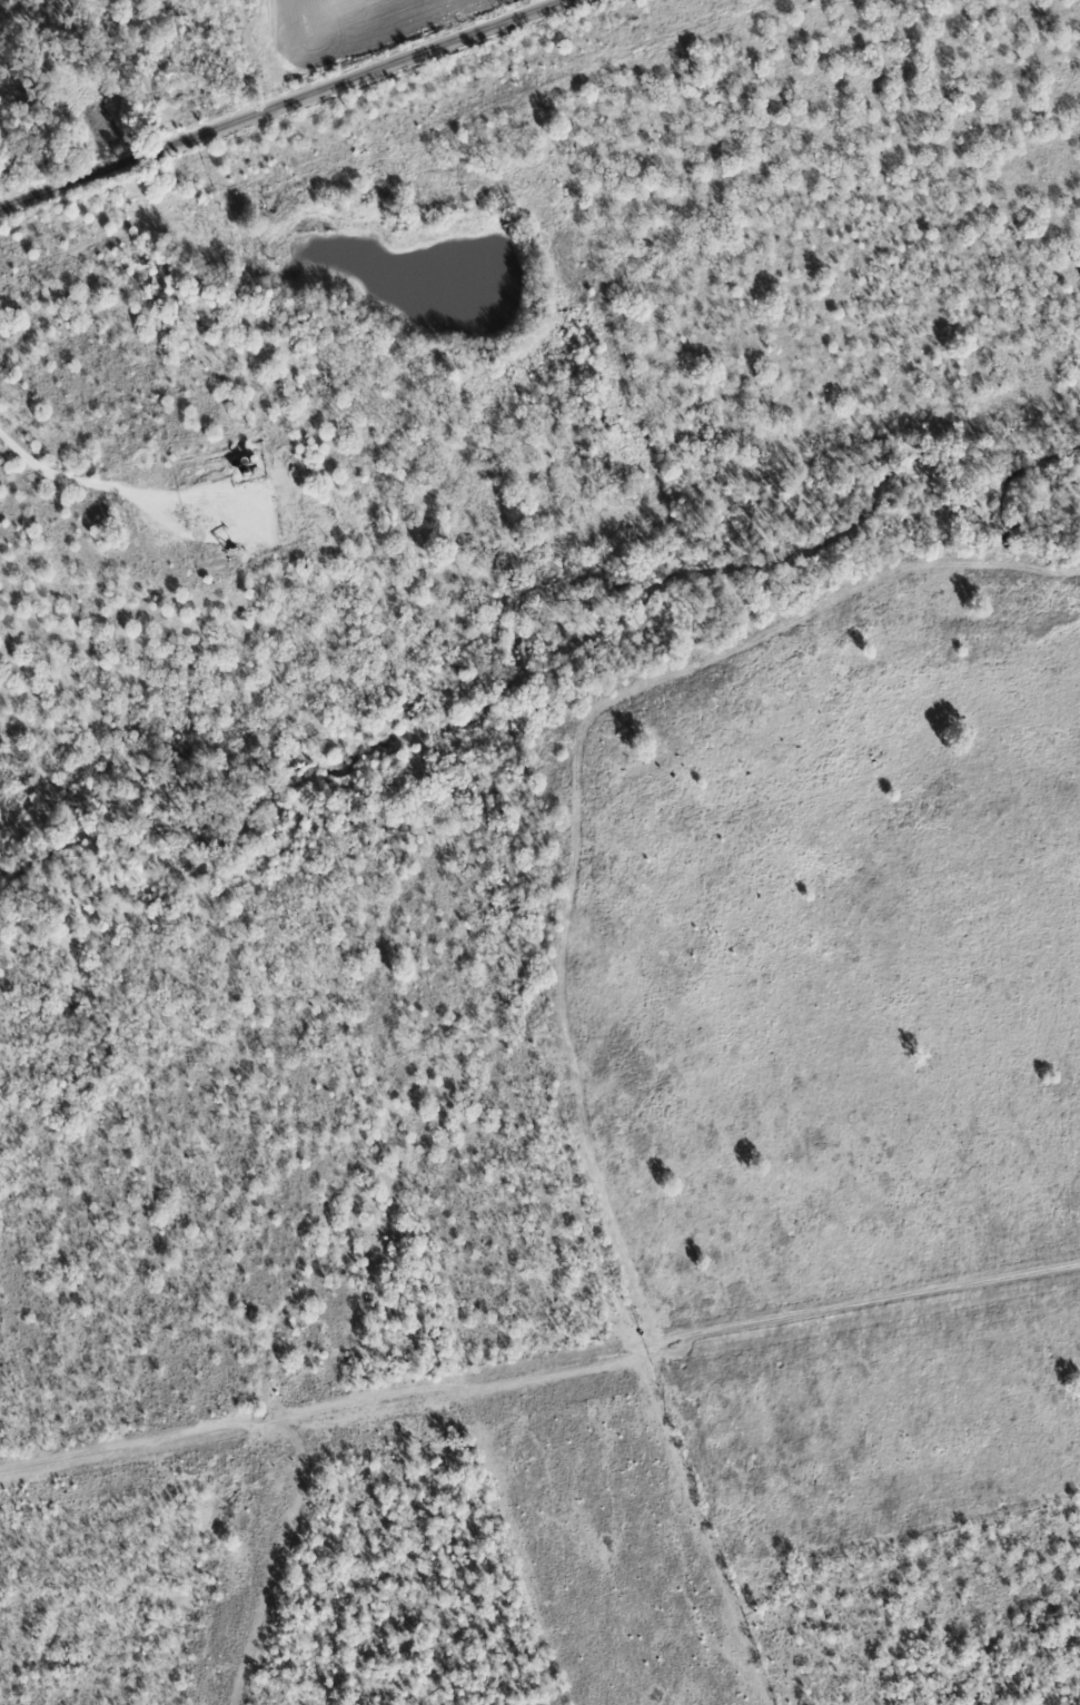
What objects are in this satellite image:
road: (281, 104)
road: (71, 481)
petroleum well: (234, 548)

